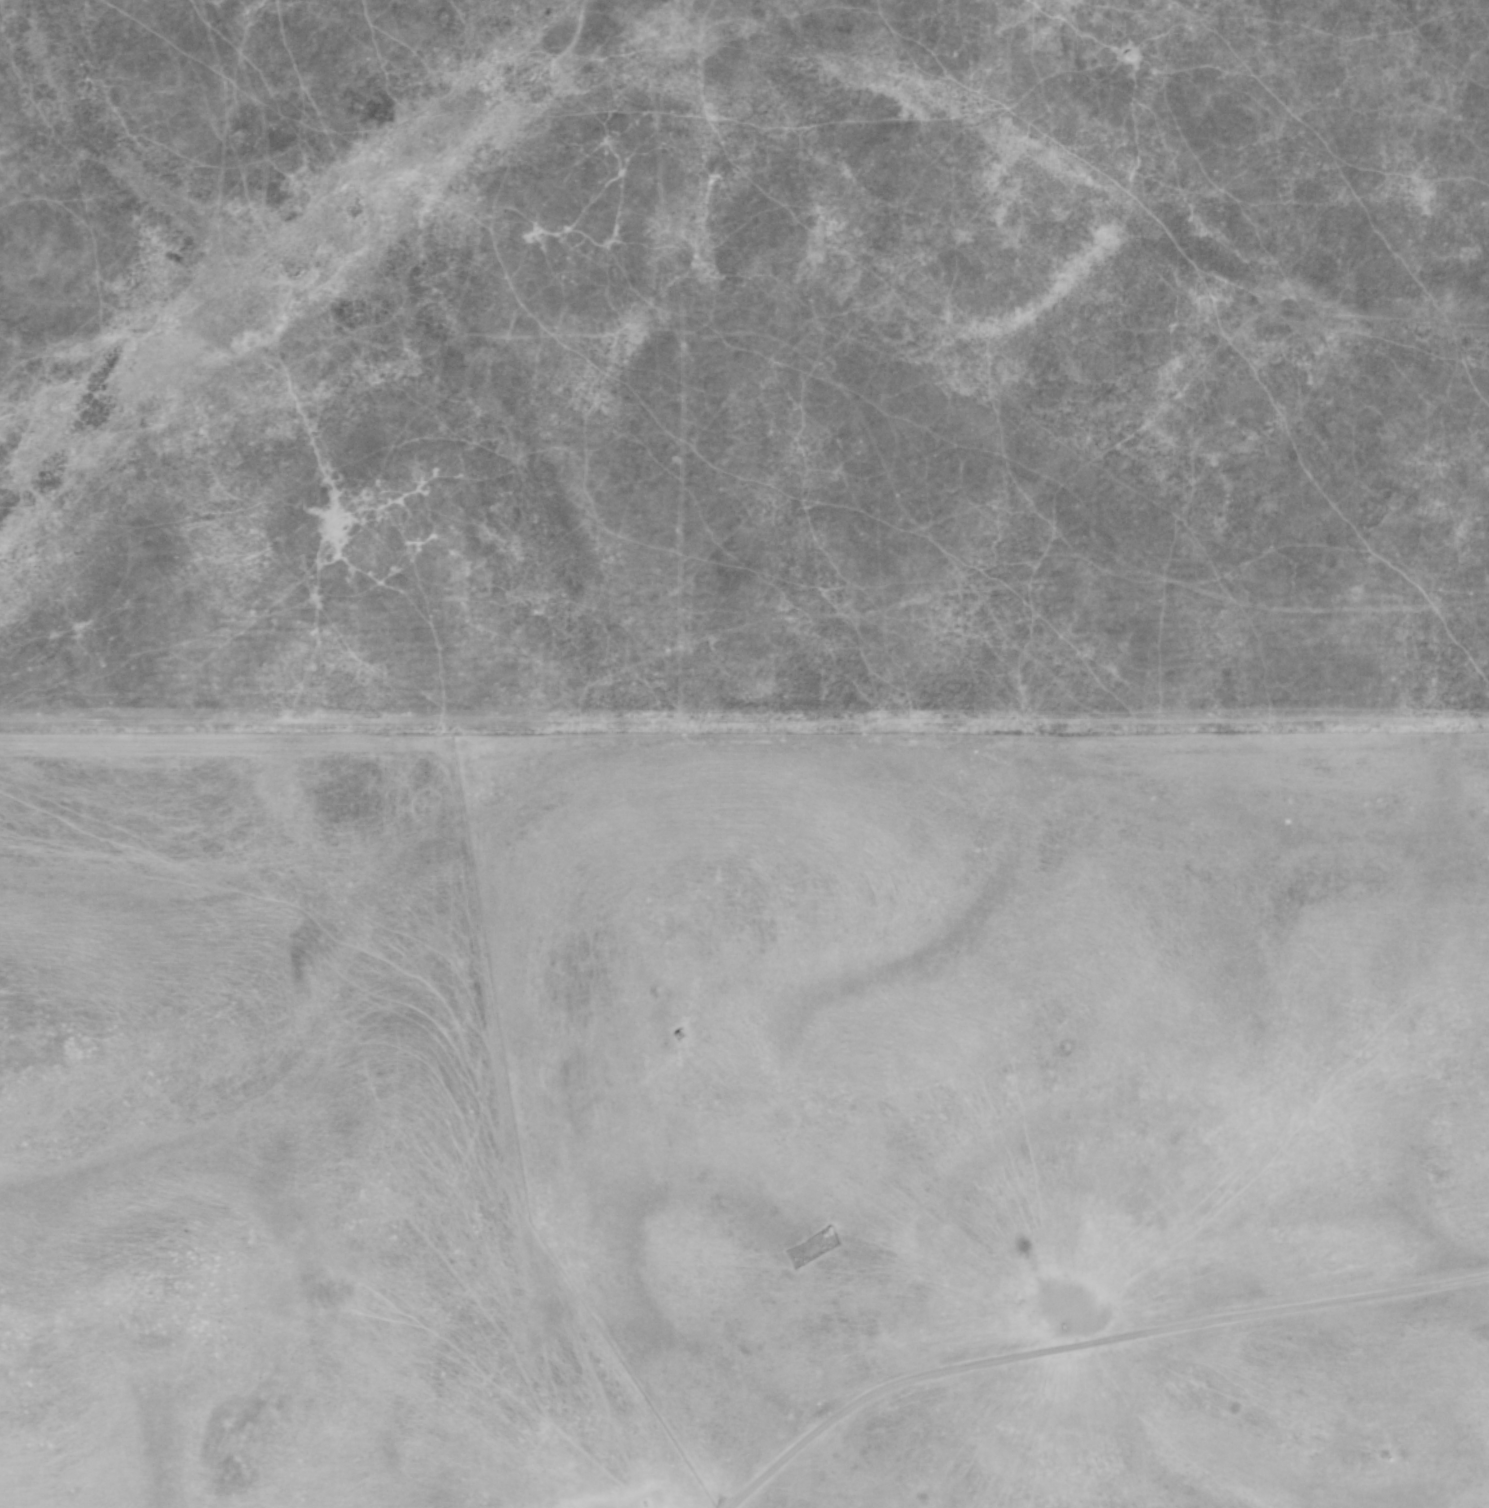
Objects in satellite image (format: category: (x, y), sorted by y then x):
road: (228, 741)
road: (1086, 1343)

